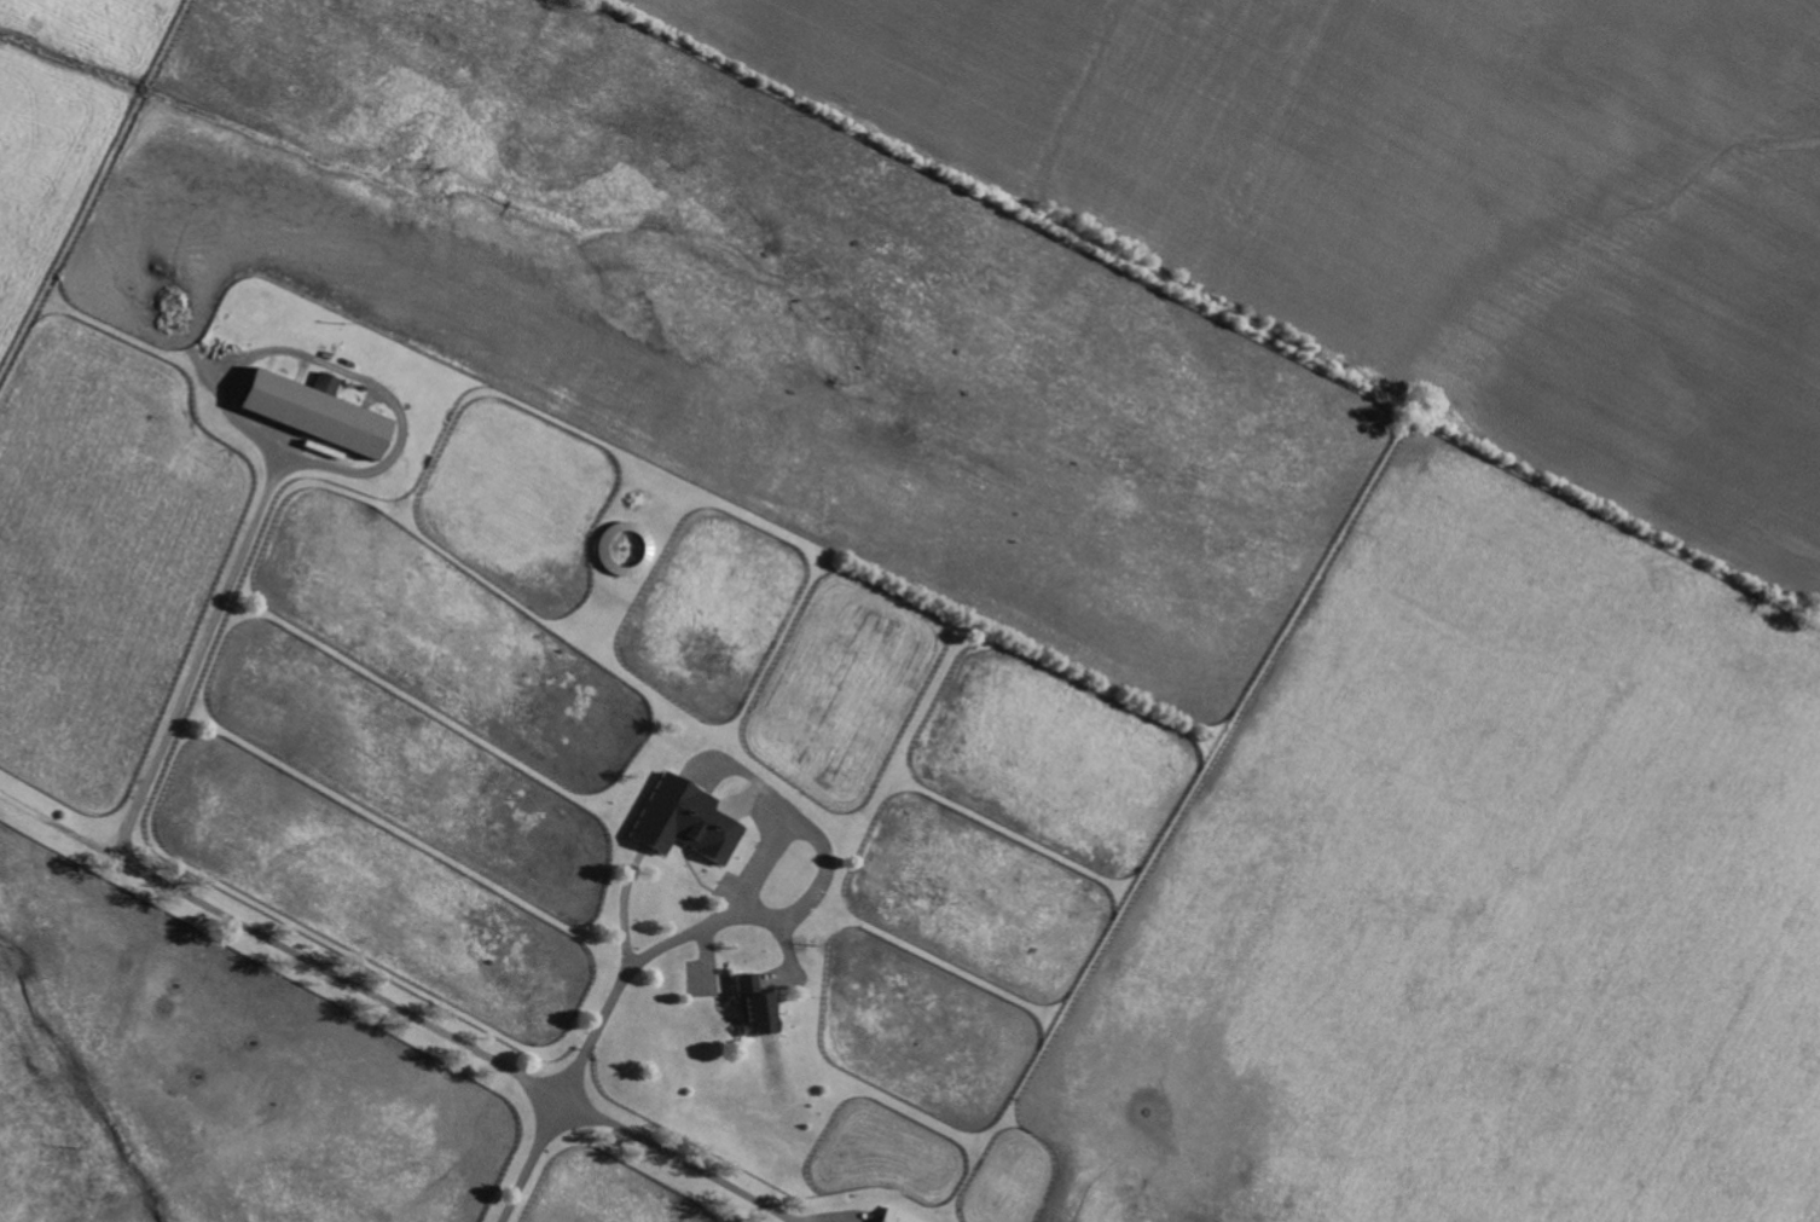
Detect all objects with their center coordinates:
building: (325, 383)
building: (313, 413)
road: (261, 442)
building: (685, 821)
road: (732, 916)
road: (283, 946)
building: (754, 1008)
road: (590, 1048)
road: (666, 1162)
building: (893, 1217)

